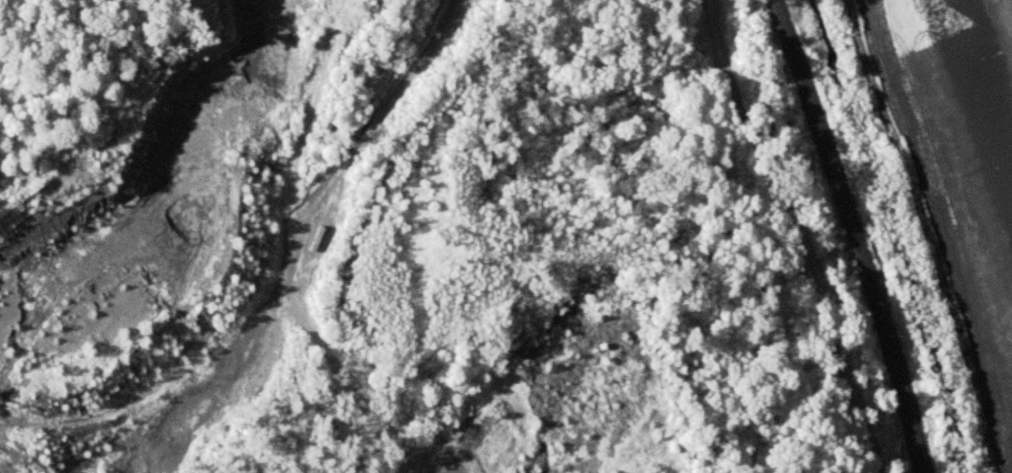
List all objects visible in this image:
road: (797, 233)
railway: (855, 235)

